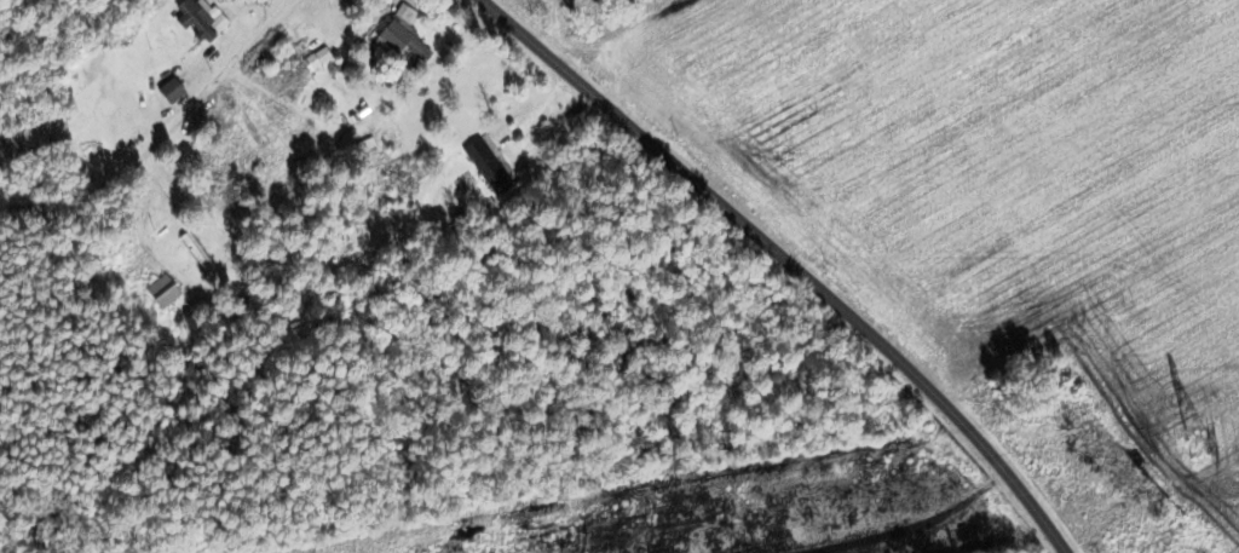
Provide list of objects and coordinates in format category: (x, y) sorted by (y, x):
building: (195, 22)
building: (399, 34)
building: (167, 92)
building: (488, 166)
road: (192, 223)
building: (196, 253)
road: (779, 258)
building: (161, 293)
power tower: (1194, 439)

